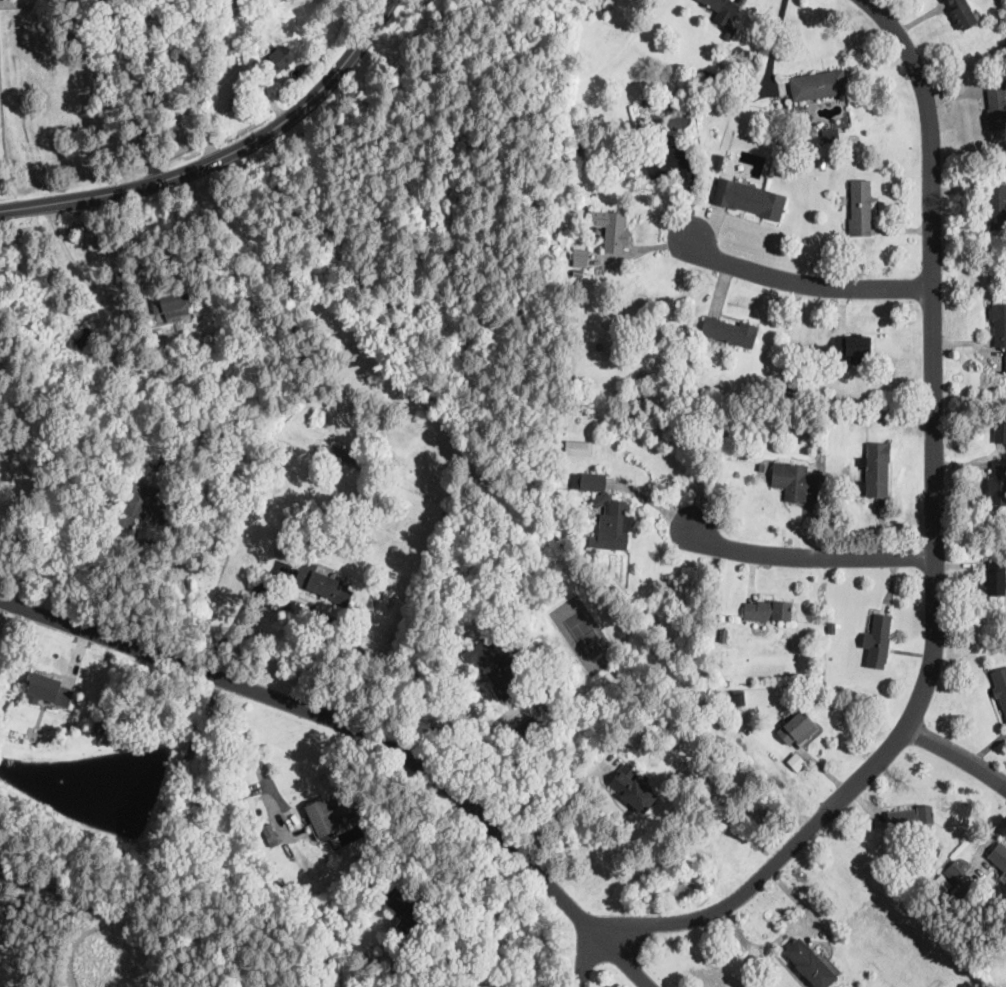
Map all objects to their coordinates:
building: (236, 0)
building: (723, 10)
building: (963, 13)
building: (230, 16)
road: (773, 44)
building: (999, 51)
building: (279, 61)
building: (709, 76)
road: (230, 81)
building: (819, 85)
road: (150, 91)
building: (997, 108)
building: (811, 128)
building: (830, 134)
road: (225, 156)
building: (669, 161)
building: (719, 161)
building: (747, 201)
building: (998, 207)
building: (860, 209)
building: (564, 223)
building: (611, 229)
building: (573, 239)
road: (65, 244)
building: (580, 257)
building: (559, 264)
building: (582, 274)
road: (805, 283)
building: (173, 305)
building: (138, 307)
building: (999, 324)
building: (729, 332)
building: (82, 335)
building: (854, 348)
building: (792, 375)
building: (1000, 428)
building: (579, 448)
building: (341, 454)
building: (760, 467)
building: (876, 470)
building: (97, 480)
building: (795, 480)
building: (998, 483)
building: (151, 505)
building: (606, 514)
building: (836, 523)
road: (938, 550)
road: (814, 559)
road: (74, 570)
building: (996, 578)
building: (323, 584)
building: (768, 611)
road: (231, 625)
building: (832, 628)
road: (342, 636)
building: (723, 636)
building: (878, 642)
building: (495, 668)
building: (1000, 687)
building: (48, 690)
building: (541, 702)
building: (726, 703)
road: (456, 714)
building: (102, 727)
building: (796, 727)
building: (525, 731)
road: (362, 732)
building: (549, 740)
road: (251, 751)
road: (958, 756)
building: (797, 760)
building: (633, 789)
road: (564, 804)
building: (327, 814)
building: (911, 816)
road: (166, 824)
building: (930, 855)
building: (999, 856)
building: (956, 871)
road: (481, 880)
building: (942, 885)
building: (411, 913)
road: (787, 933)
road: (590, 961)
building: (811, 964)

